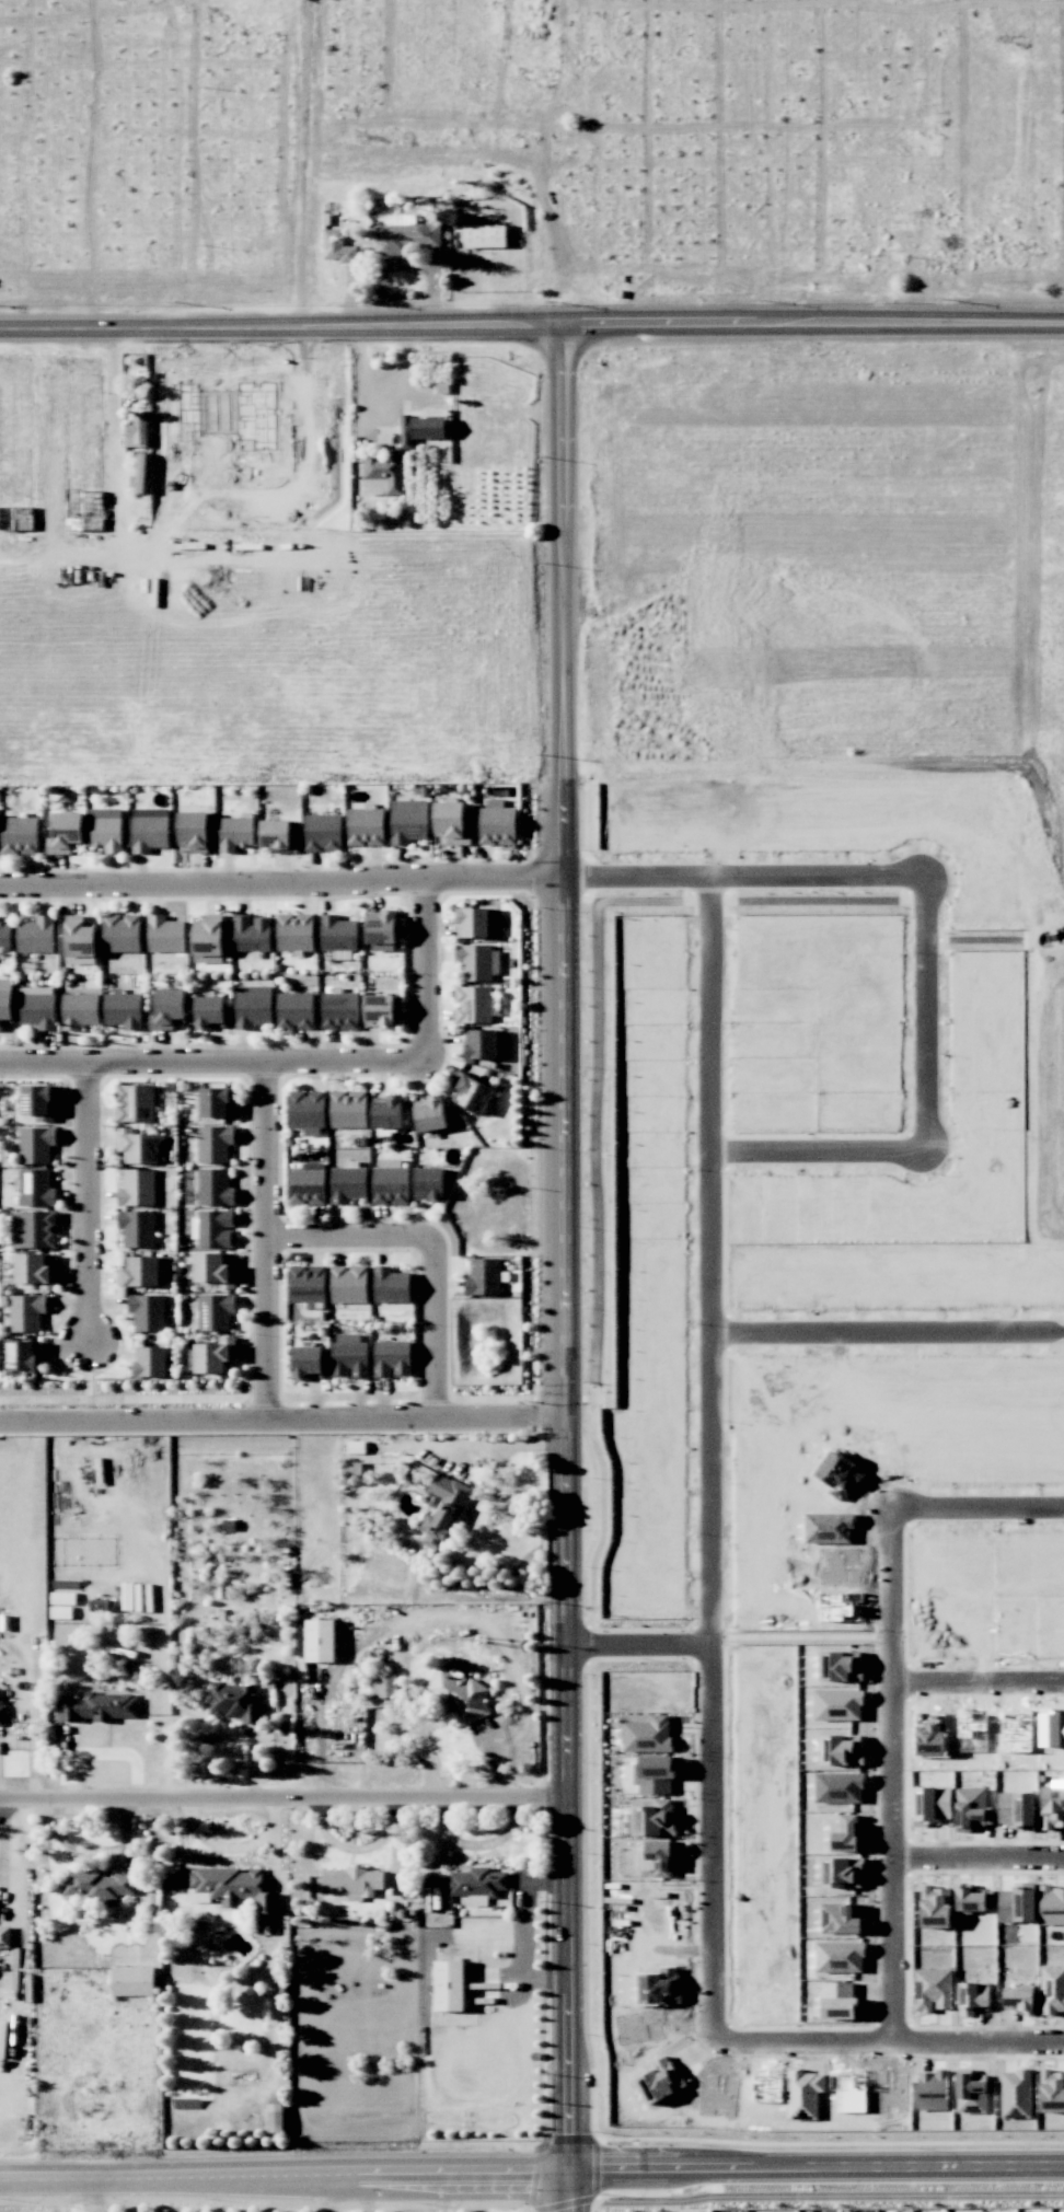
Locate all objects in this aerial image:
building: (407, 235)
building: (484, 235)
road: (406, 268)
road: (733, 324)
road: (382, 326)
road: (180, 329)
building: (92, 375)
road: (382, 385)
road: (114, 407)
building: (420, 428)
building: (136, 431)
building: (384, 468)
building: (374, 487)
building: (408, 821)
building: (451, 823)
building: (497, 823)
building: (366, 827)
building: (105, 829)
building: (149, 829)
building: (194, 831)
building: (65, 833)
building: (323, 833)
building: (235, 834)
building: (19, 835)
building: (277, 836)
road: (281, 884)
building: (476, 922)
building: (381, 930)
building: (294, 931)
building: (122, 933)
building: (338, 933)
building: (165, 934)
building: (252, 934)
building: (5, 935)
building: (36, 935)
building: (207, 937)
building: (80, 939)
building: (477, 962)
road: (420, 970)
building: (473, 1005)
building: (5, 1006)
building: (252, 1006)
building: (37, 1007)
building: (339, 1008)
building: (167, 1009)
building: (79, 1010)
building: (123, 1010)
building: (294, 1010)
building: (379, 1011)
building: (209, 1012)
road: (924, 1012)
building: (479, 1043)
road: (210, 1057)
building: (471, 1092)
building: (38, 1102)
building: (135, 1102)
building: (217, 1102)
building: (348, 1109)
building: (307, 1112)
building: (388, 1112)
building: (430, 1114)
building: (36, 1144)
building: (215, 1144)
building: (136, 1147)
building: (347, 1183)
building: (391, 1183)
building: (429, 1183)
building: (307, 1185)
road: (707, 1186)
building: (36, 1188)
building: (137, 1188)
building: (213, 1188)
road: (93, 1205)
building: (137, 1228)
building: (216, 1228)
building: (34, 1229)
road: (264, 1238)
road: (349, 1238)
road: (565, 1269)
building: (36, 1270)
building: (215, 1270)
building: (139, 1272)
building: (484, 1276)
building: (349, 1284)
building: (391, 1285)
building: (307, 1286)
building: (148, 1311)
building: (215, 1311)
building: (26, 1312)
road: (437, 1330)
road: (886, 1330)
building: (23, 1355)
building: (215, 1356)
building: (349, 1356)
building: (392, 1358)
building: (149, 1362)
building: (308, 1363)
road: (282, 1417)
road: (501, 1446)
building: (356, 1447)
road: (504, 1508)
building: (443, 1510)
road: (892, 1517)
building: (320, 1641)
building: (383, 1684)
building: (456, 1695)
building: (233, 1702)
building: (0, 1705)
building: (99, 1707)
building: (648, 1735)
building: (655, 1774)
building: (839, 1787)
road: (284, 1803)
building: (1052, 1807)
building: (972, 1808)
building: (1017, 1808)
building: (847, 1834)
road: (476, 1845)
road: (94, 1849)
road: (982, 1856)
building: (659, 1857)
road: (710, 1858)
road: (1, 1862)
road: (900, 1865)
building: (842, 1872)
building: (351, 1883)
building: (476, 1884)
building: (97, 1886)
building: (232, 1888)
building: (975, 1900)
building: (1018, 1903)
building: (1052, 1906)
building: (937, 1908)
building: (841, 1918)
building: (4, 1936)
building: (840, 1957)
building: (132, 1981)
building: (449, 1985)
building: (934, 1989)
building: (1052, 1990)
building: (835, 1993)
building: (973, 1994)
building: (1019, 1999)
building: (1052, 2092)
building: (275, 2118)
road: (814, 2168)
road: (504, 2173)
road: (221, 2175)
road: (442, 2192)
road: (342, 2193)
road: (367, 2193)
road: (94, 2194)

